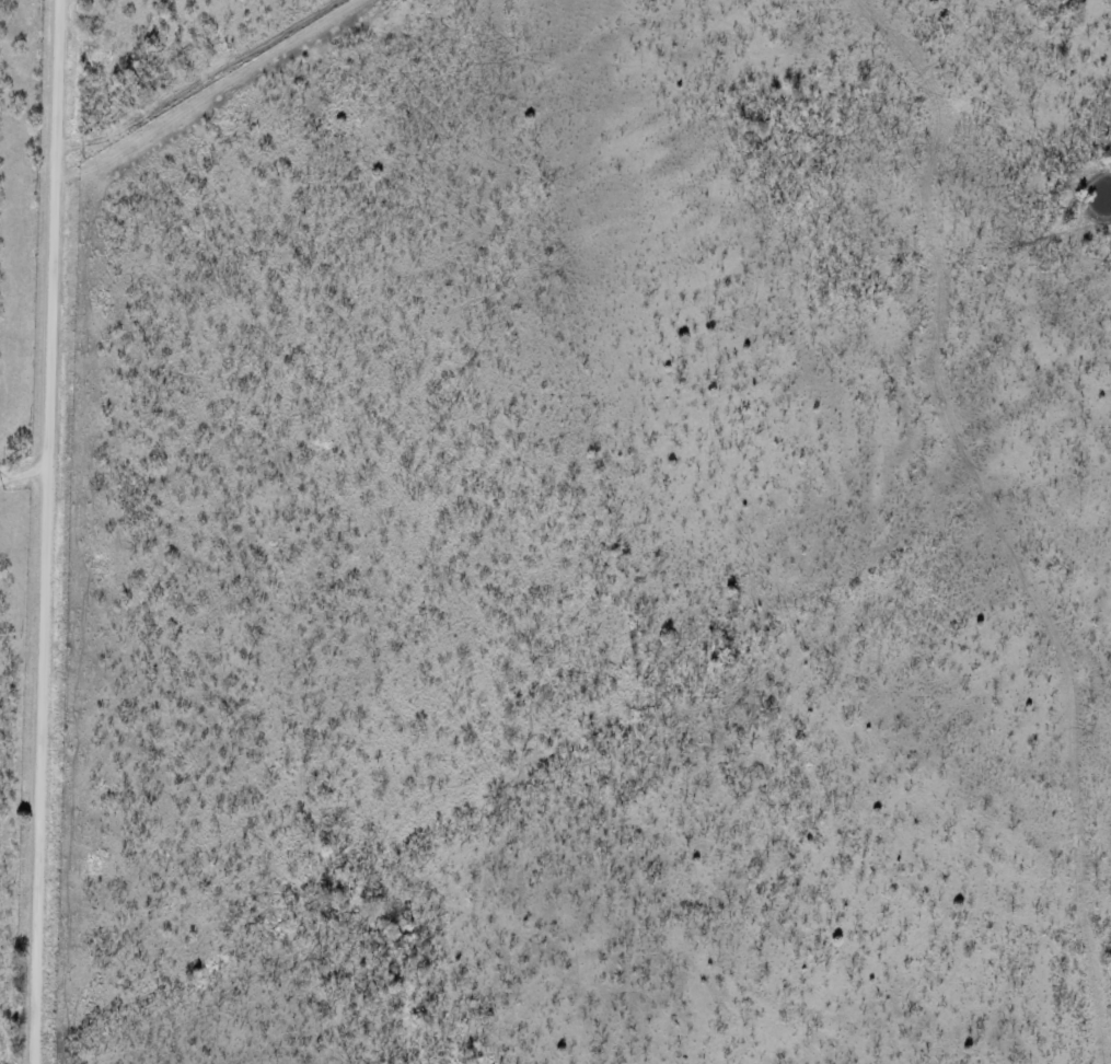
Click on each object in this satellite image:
road: (27, 520)
road: (54, 531)

